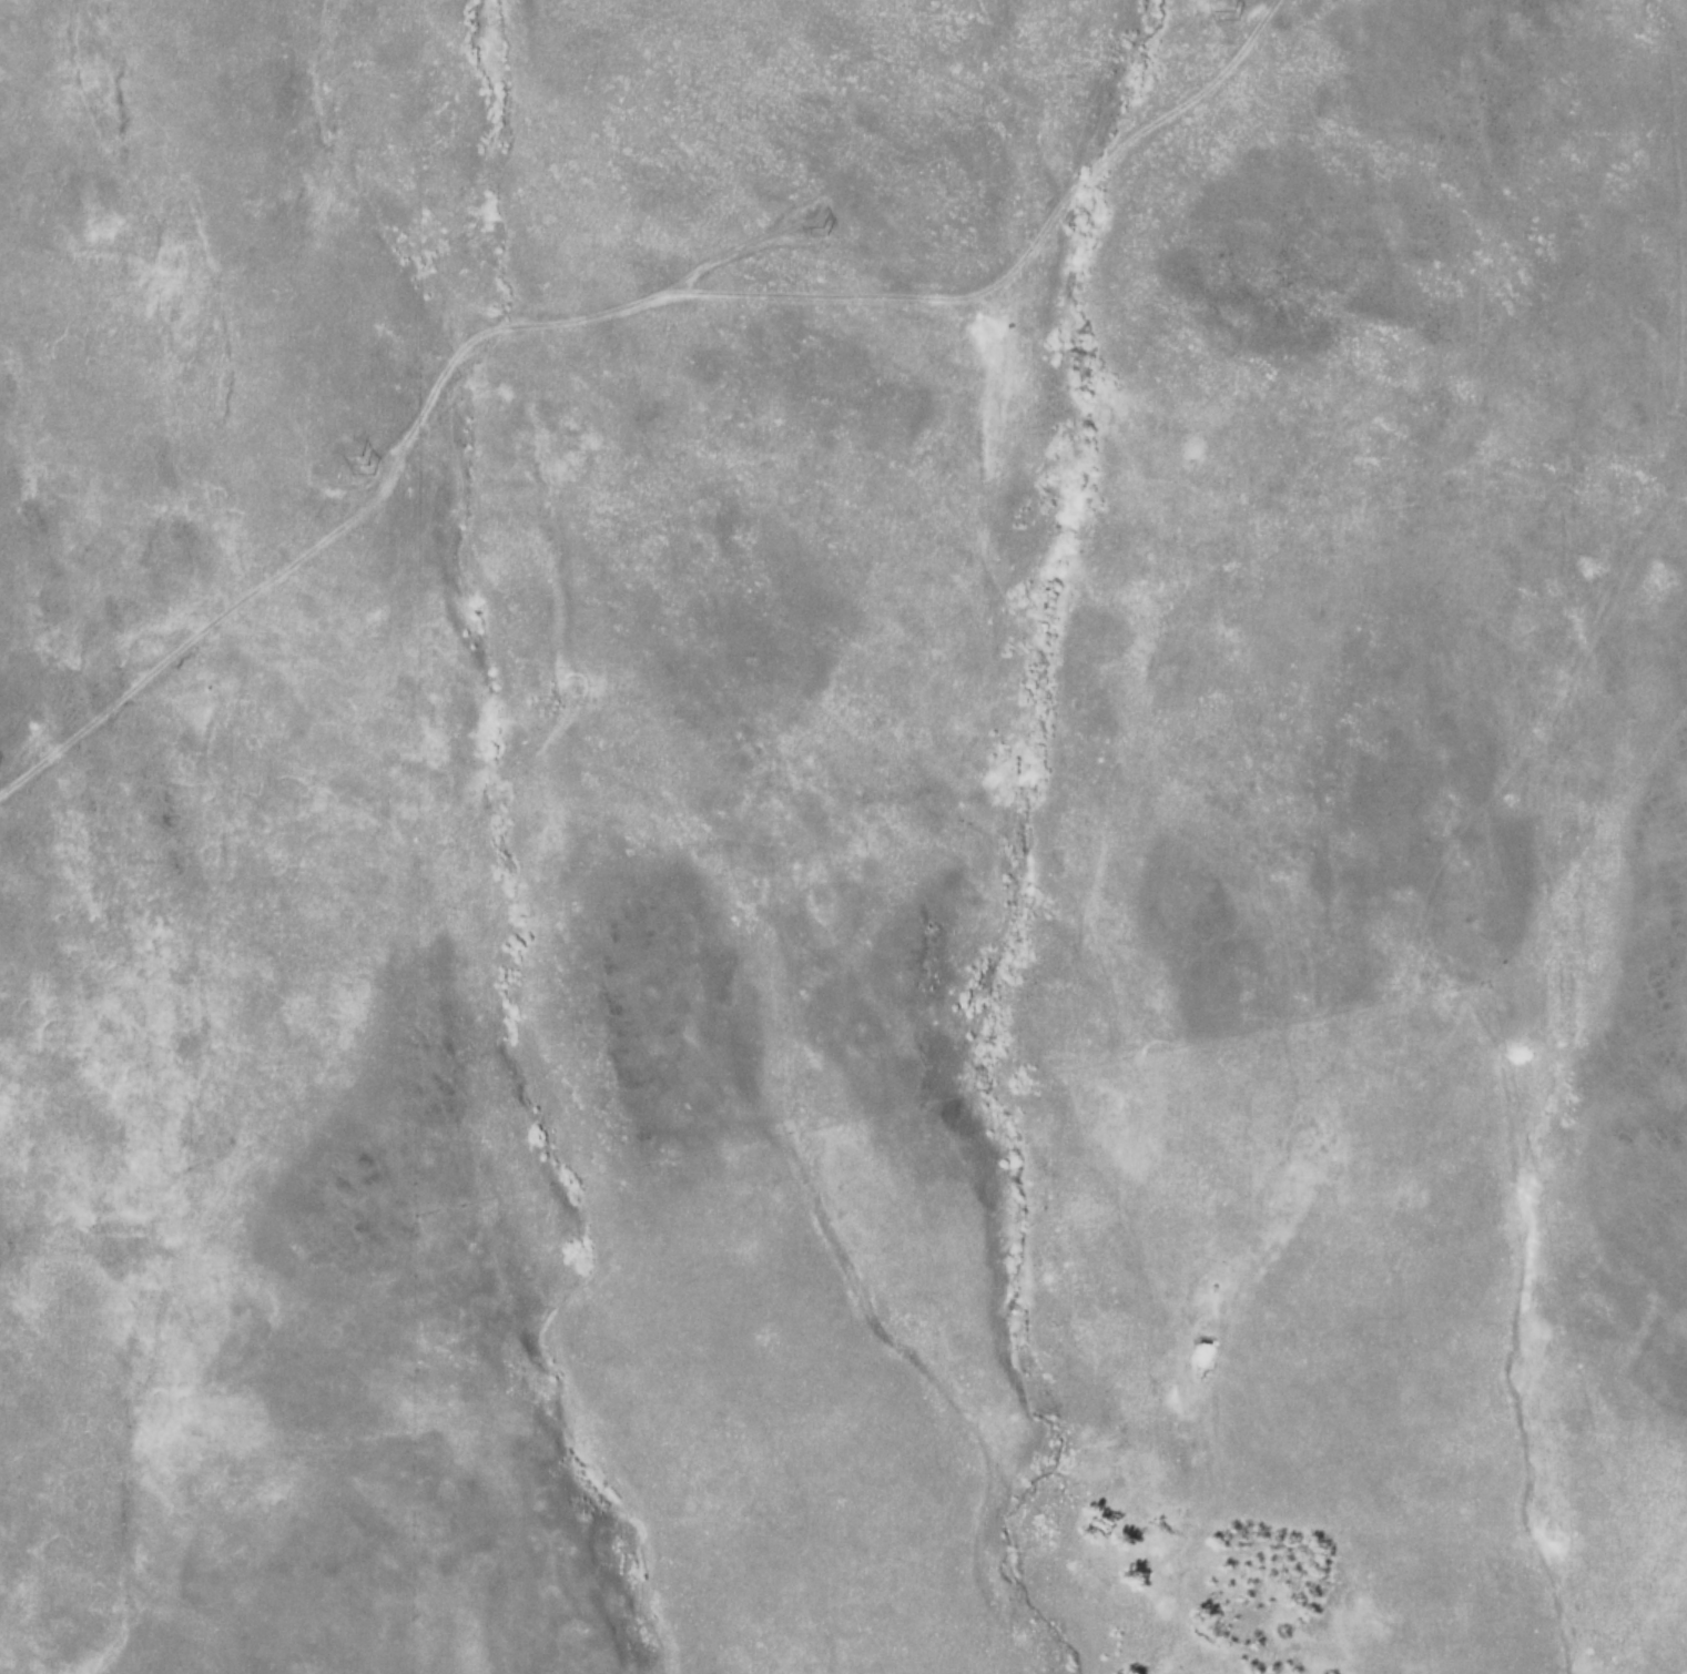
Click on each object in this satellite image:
power tower: (1237, 14)
power tower: (827, 230)
road: (733, 250)
road: (835, 293)
power tower: (366, 473)
road: (183, 642)

